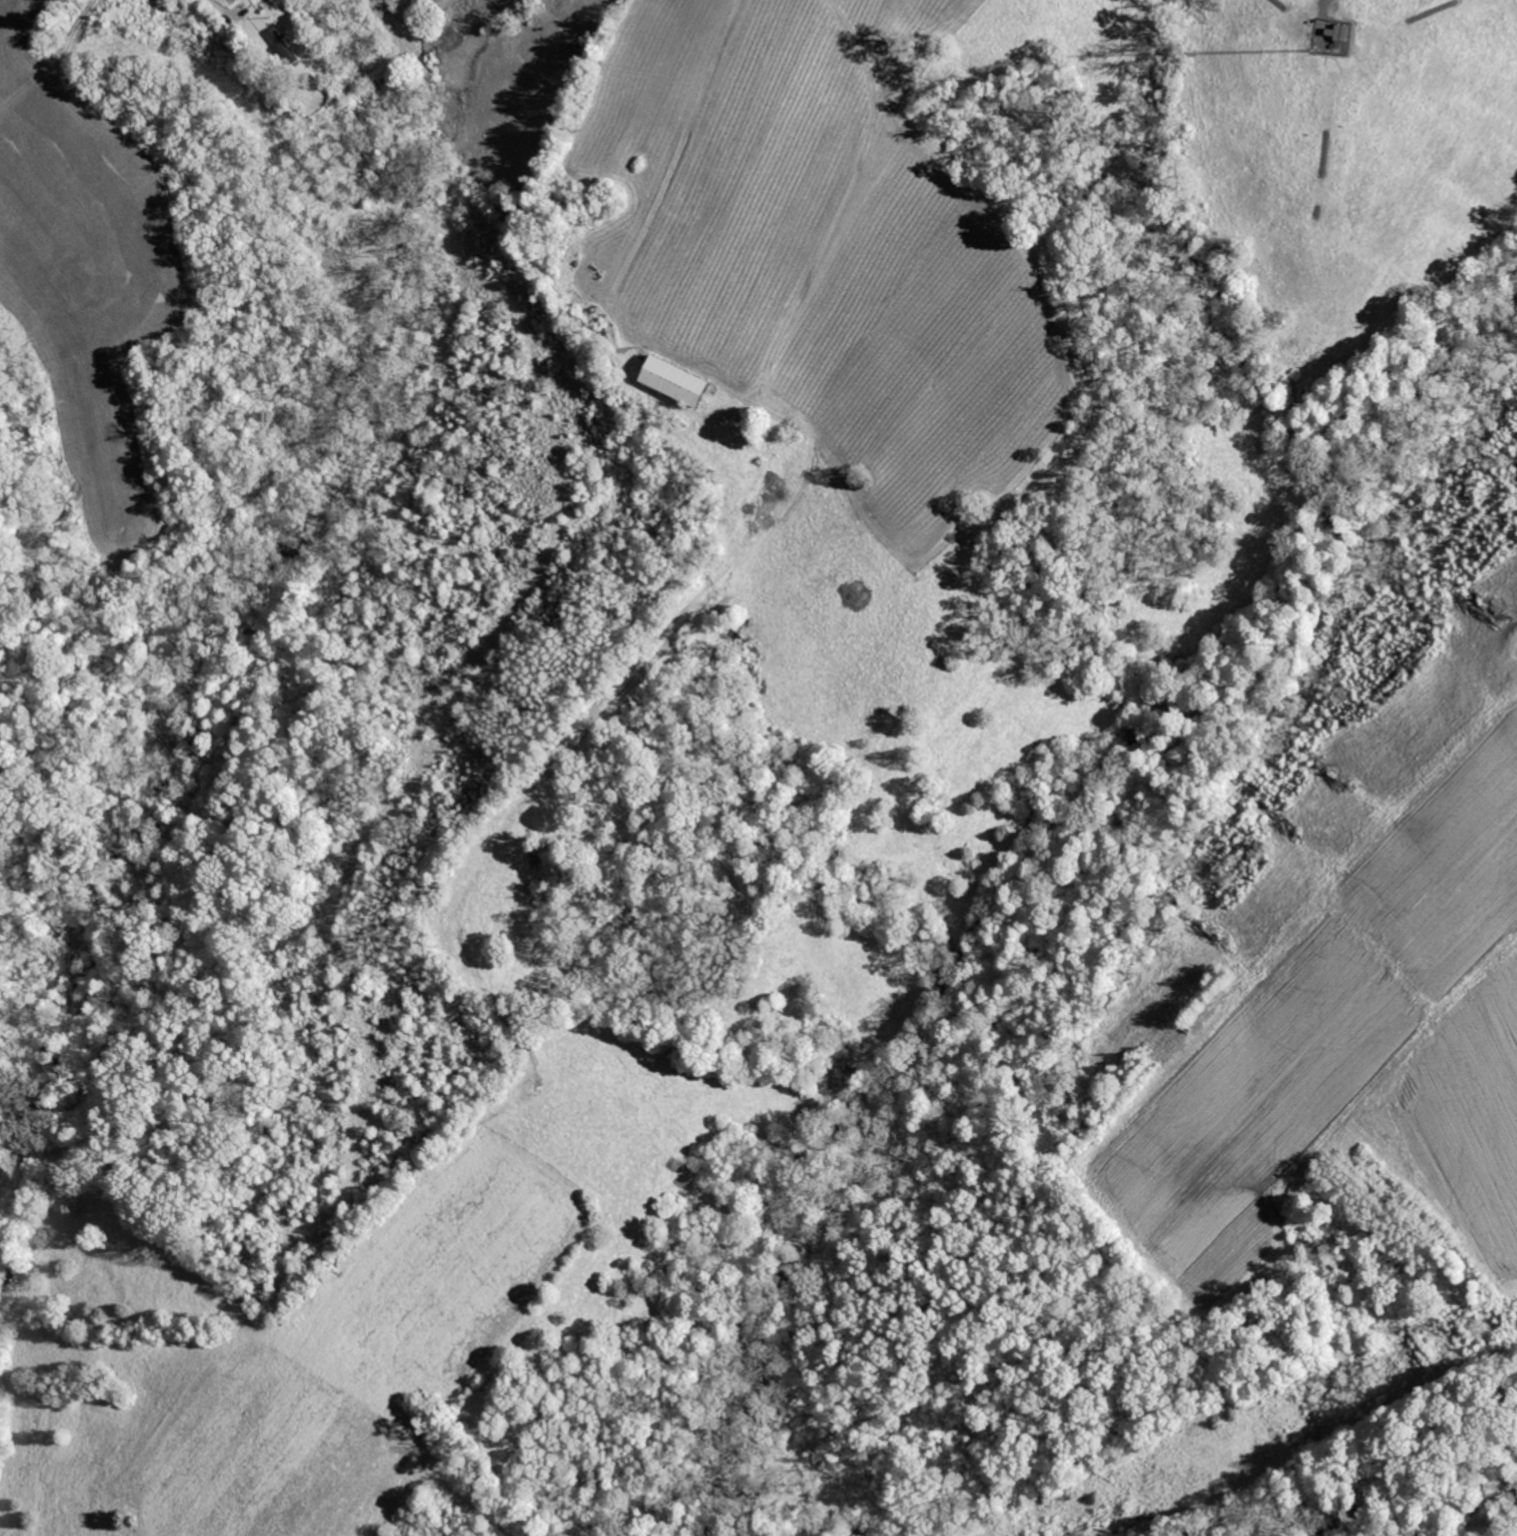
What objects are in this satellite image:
building: (1341, 32)
road: (858, 180)
building: (674, 379)
power tower: (1484, 1326)

